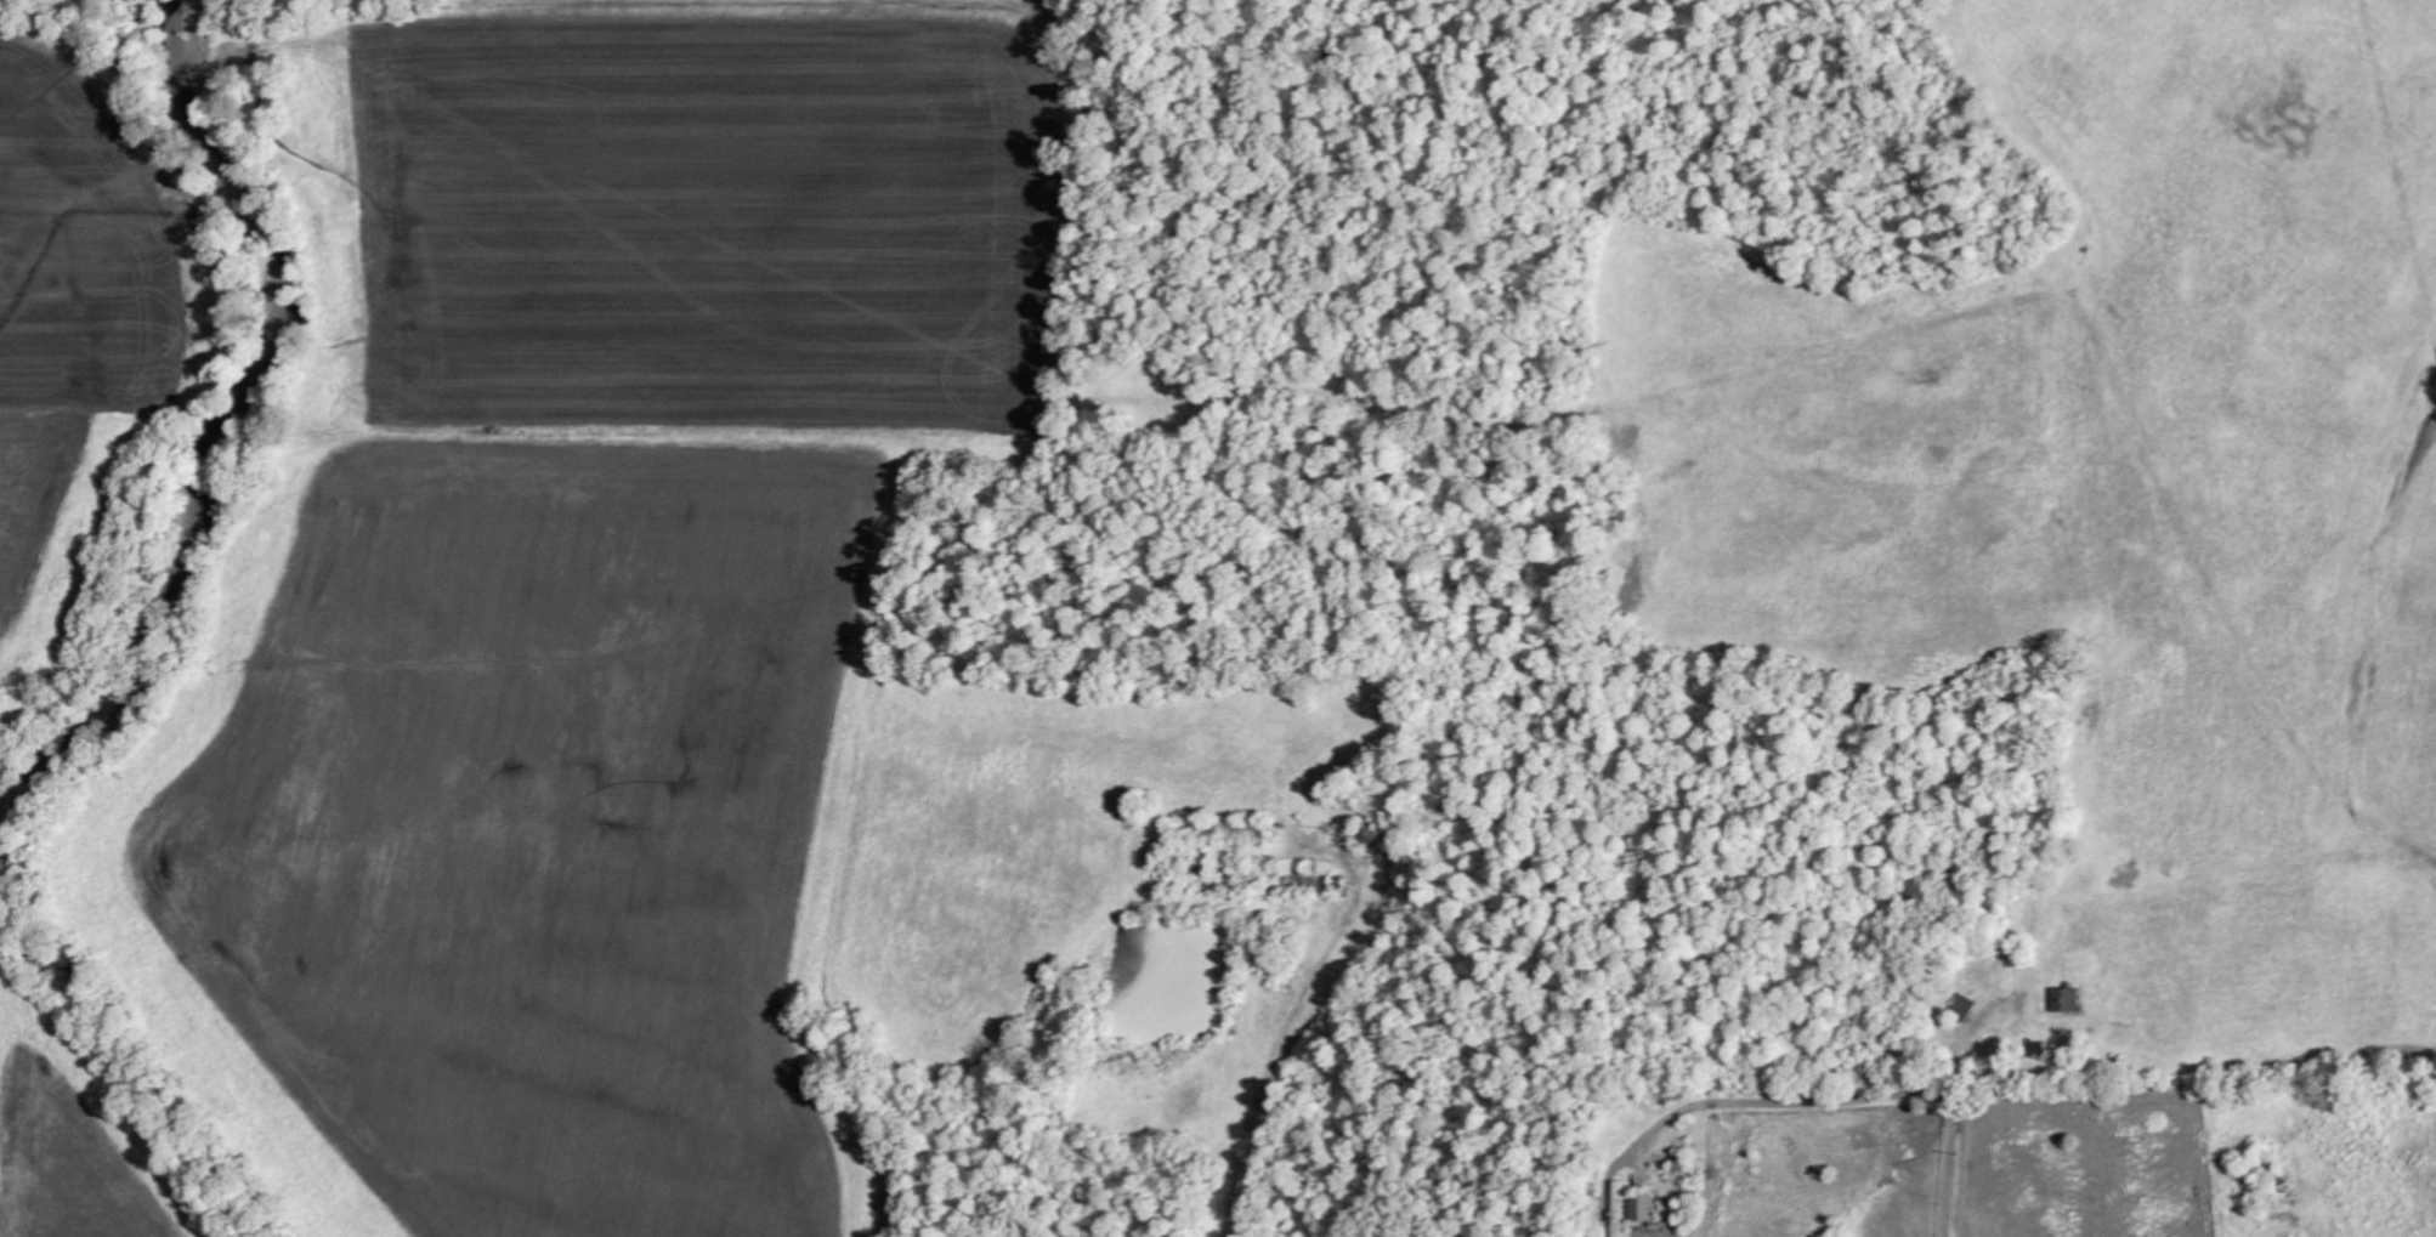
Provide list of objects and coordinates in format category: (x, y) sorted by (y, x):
road: (1910, 881)
building: (2063, 999)
road: (1976, 1062)
building: (1618, 1208)
building: (1641, 1208)

